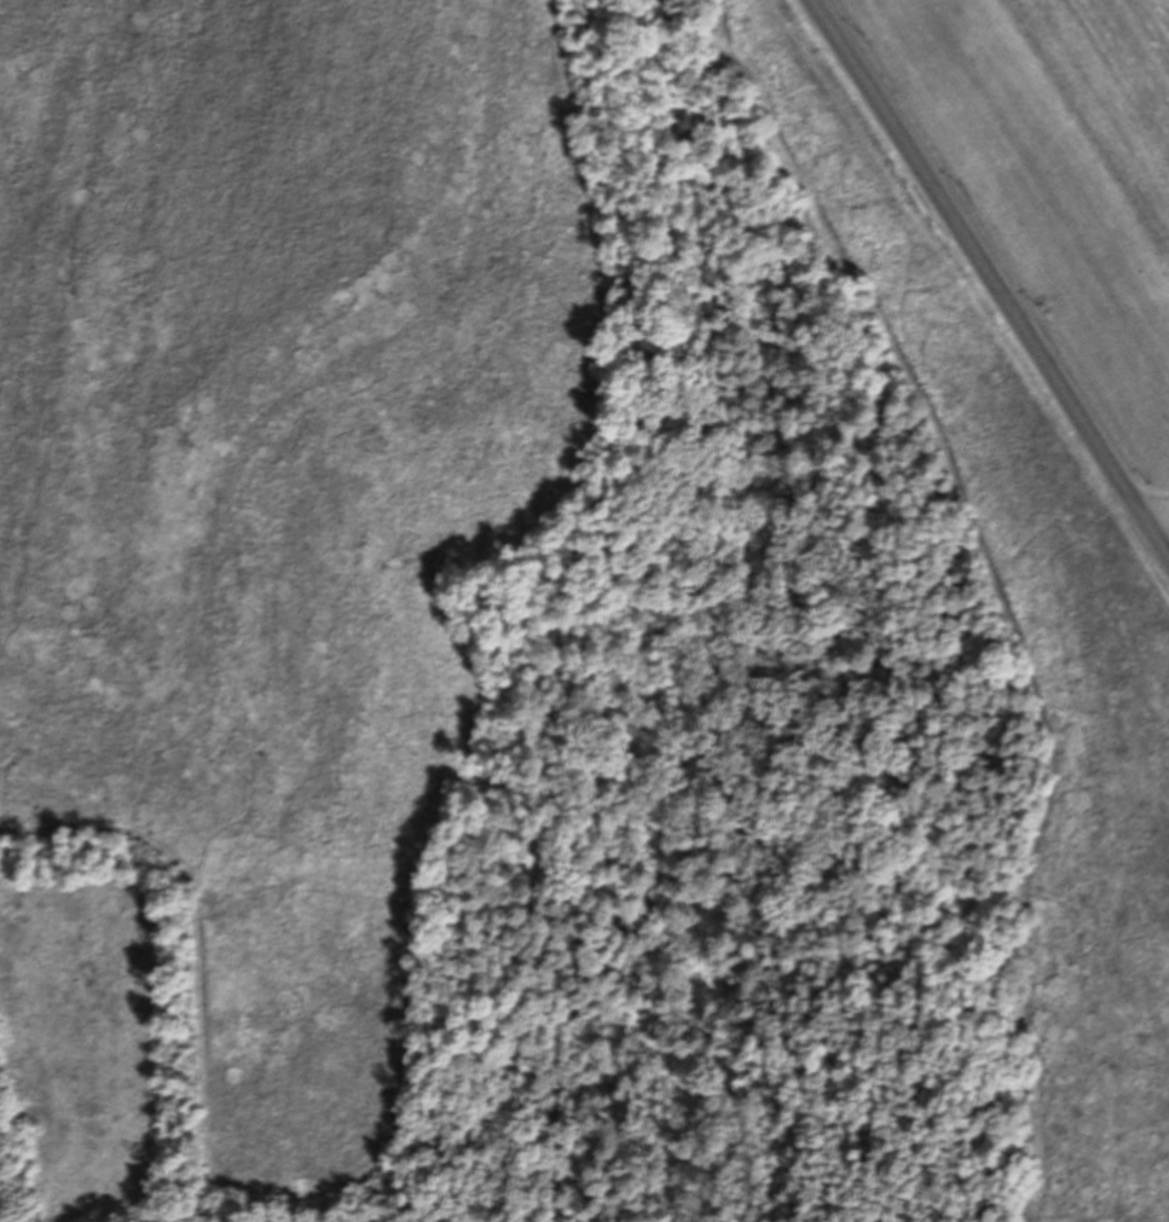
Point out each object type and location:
road: (991, 276)

